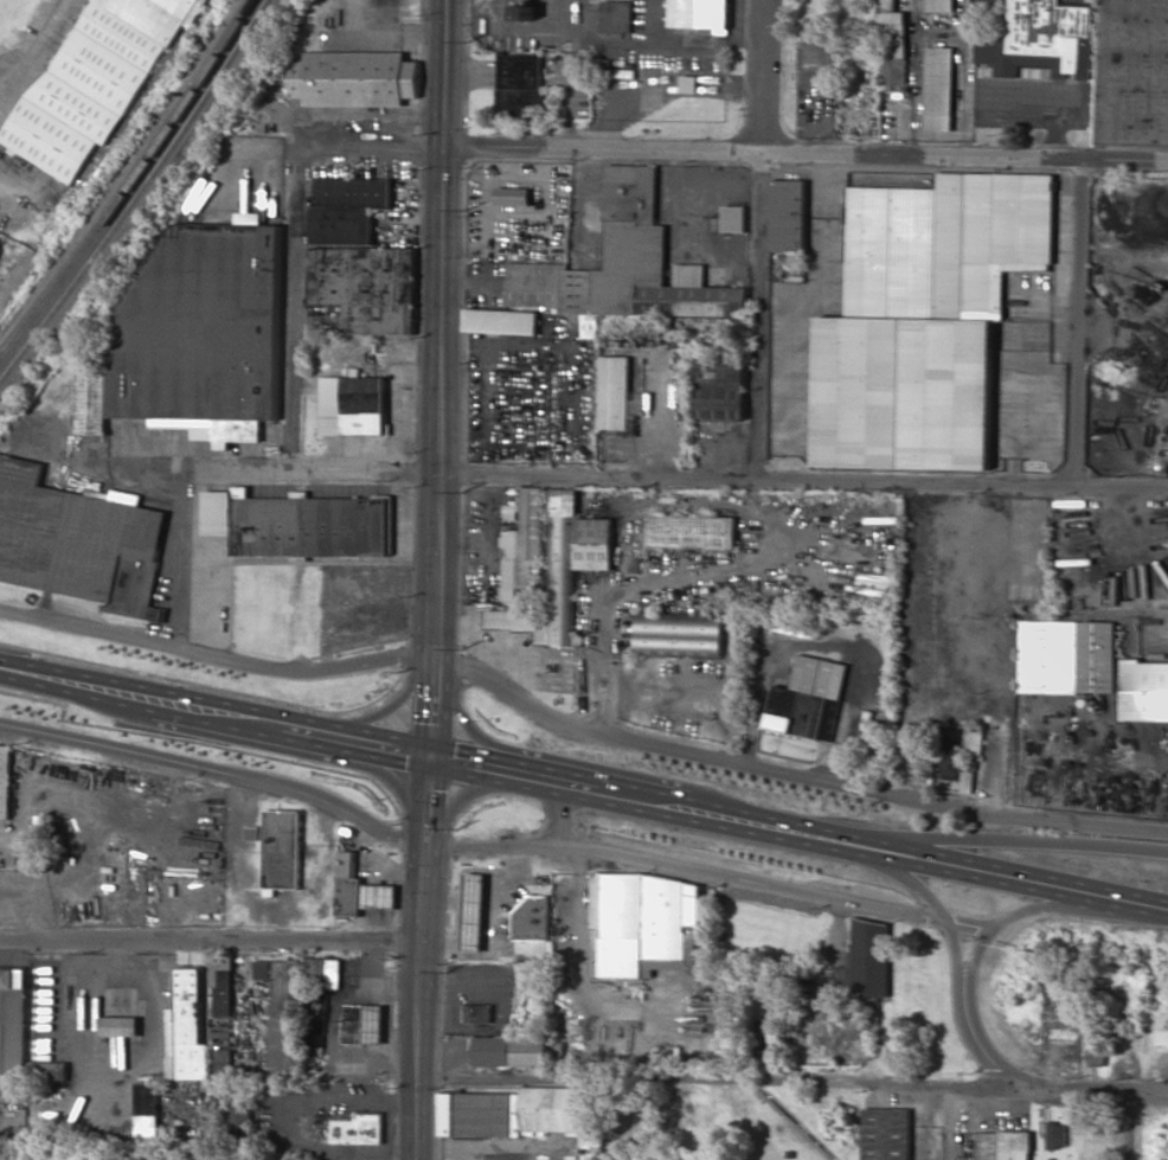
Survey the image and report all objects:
building: (890, 5)
building: (941, 5)
building: (701, 13)
building: (618, 17)
building: (1039, 38)
building: (893, 47)
building: (819, 52)
building: (1134, 72)
building: (97, 79)
building: (354, 79)
building: (691, 84)
building: (519, 86)
building: (939, 88)
traffic signals: (444, 146)
road: (740, 152)
railway: (126, 175)
railway: (133, 185)
railway: (139, 193)
building: (513, 196)
building: (346, 209)
building: (789, 214)
building: (736, 218)
road: (762, 241)
building: (0, 243)
building: (625, 267)
building: (361, 276)
road: (293, 302)
building: (925, 319)
building: (500, 321)
road: (1079, 323)
building: (193, 337)
building: (720, 391)
building: (617, 395)
building: (352, 405)
road: (319, 473)
road: (803, 482)
building: (299, 525)
building: (692, 532)
building: (78, 541)
building: (520, 545)
building: (631, 563)
building: (560, 571)
road: (436, 579)
road: (973, 598)
building: (679, 635)
building: (1068, 656)
road: (216, 658)
building: (1144, 691)
road: (139, 694)
road: (384, 707)
road: (463, 719)
building: (874, 724)
road: (354, 736)
traffic signals: (431, 750)
building: (964, 758)
road: (514, 768)
road: (378, 770)
road: (217, 773)
road: (791, 776)
building: (5, 781)
road: (467, 795)
road: (738, 818)
building: (251, 833)
road: (1022, 840)
building: (282, 850)
road: (710, 873)
road: (1022, 878)
building: (359, 890)
road: (1020, 908)
road: (935, 909)
building: (473, 912)
building: (532, 919)
building: (642, 923)
road: (211, 929)
building: (866, 961)
building: (323, 973)
building: (222, 1013)
building: (476, 1013)
building: (283, 1017)
building: (13, 1021)
building: (364, 1024)
building: (120, 1026)
building: (187, 1030)
building: (1160, 1036)
building: (770, 1037)
road: (980, 1042)
building: (1093, 1050)
building: (509, 1051)
road: (794, 1077)
building: (146, 1110)
building: (516, 1114)
building: (239, 1115)
road: (1127, 1123)
building: (355, 1129)
building: (885, 1134)
building: (1054, 1135)
building: (1003, 1145)

